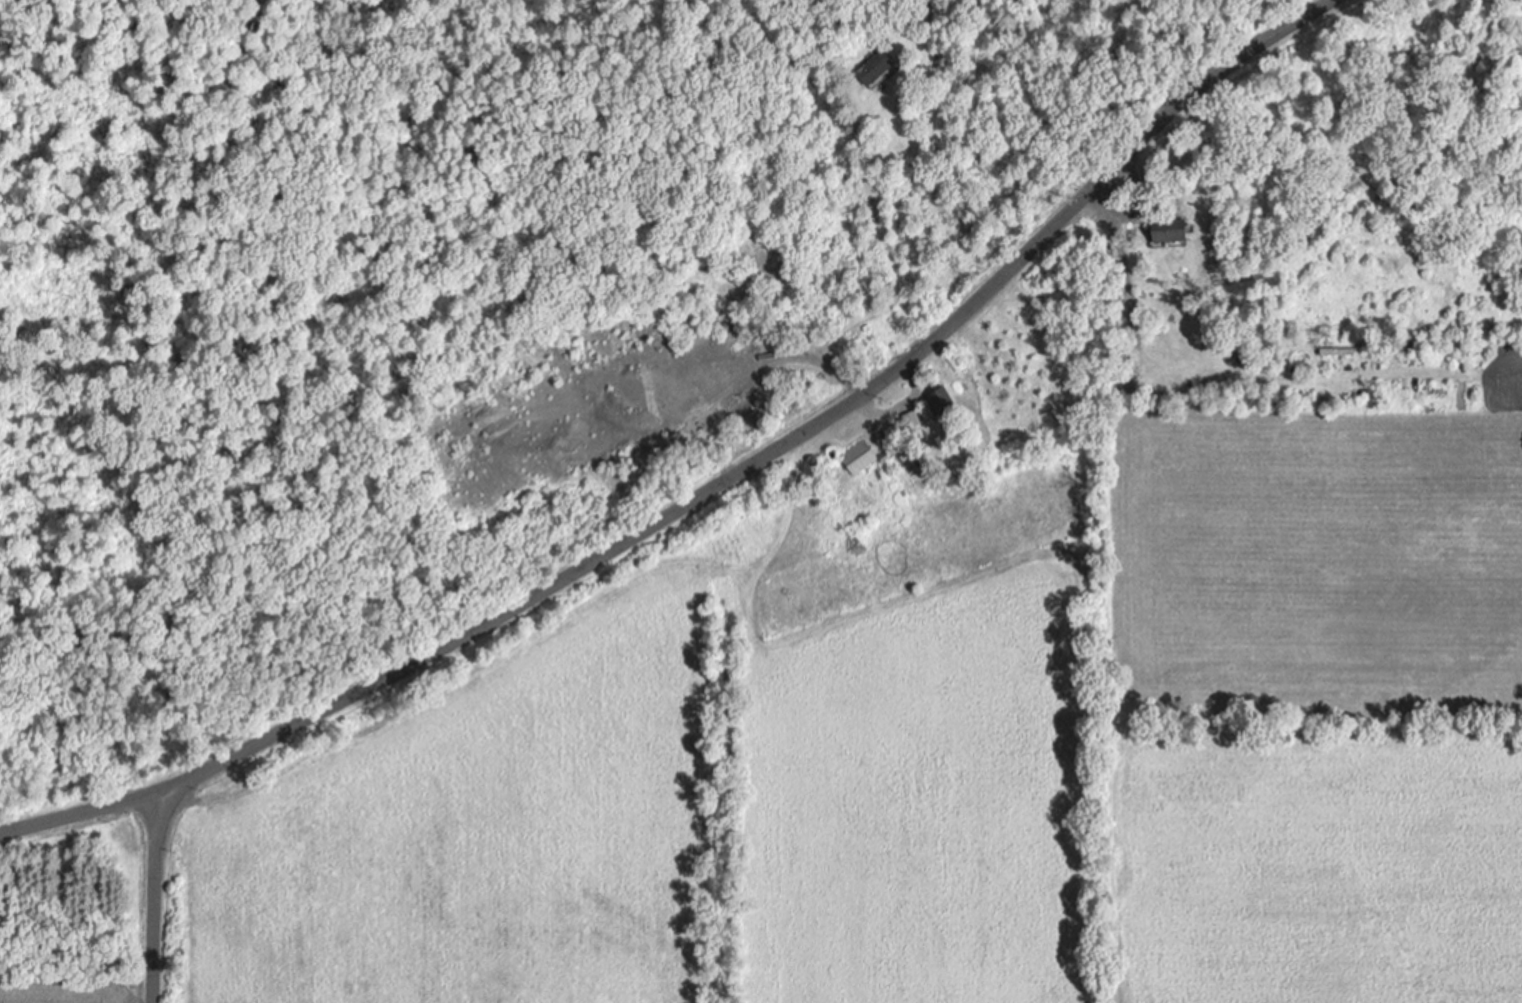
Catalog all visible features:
building: (879, 68)
building: (1176, 230)
building: (945, 401)
road: (780, 447)
building: (860, 458)
road: (78, 815)
road: (151, 899)

